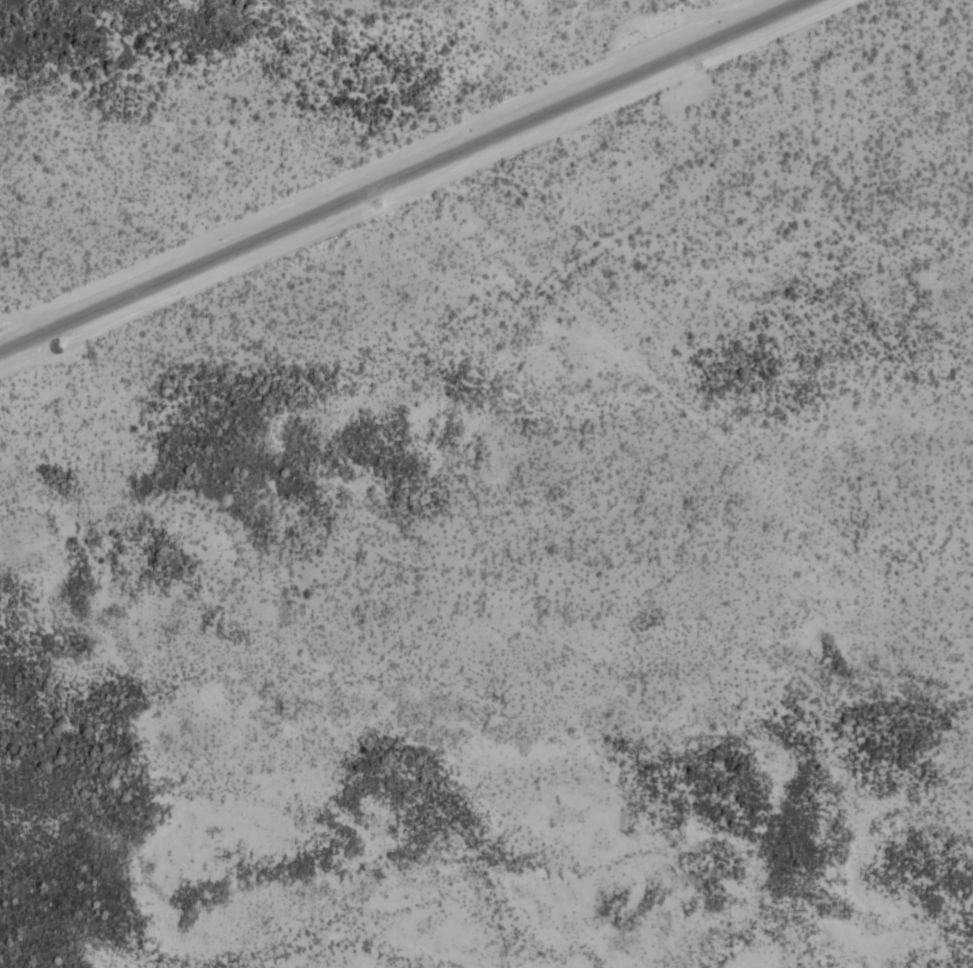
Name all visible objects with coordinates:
building: (813, 146)

